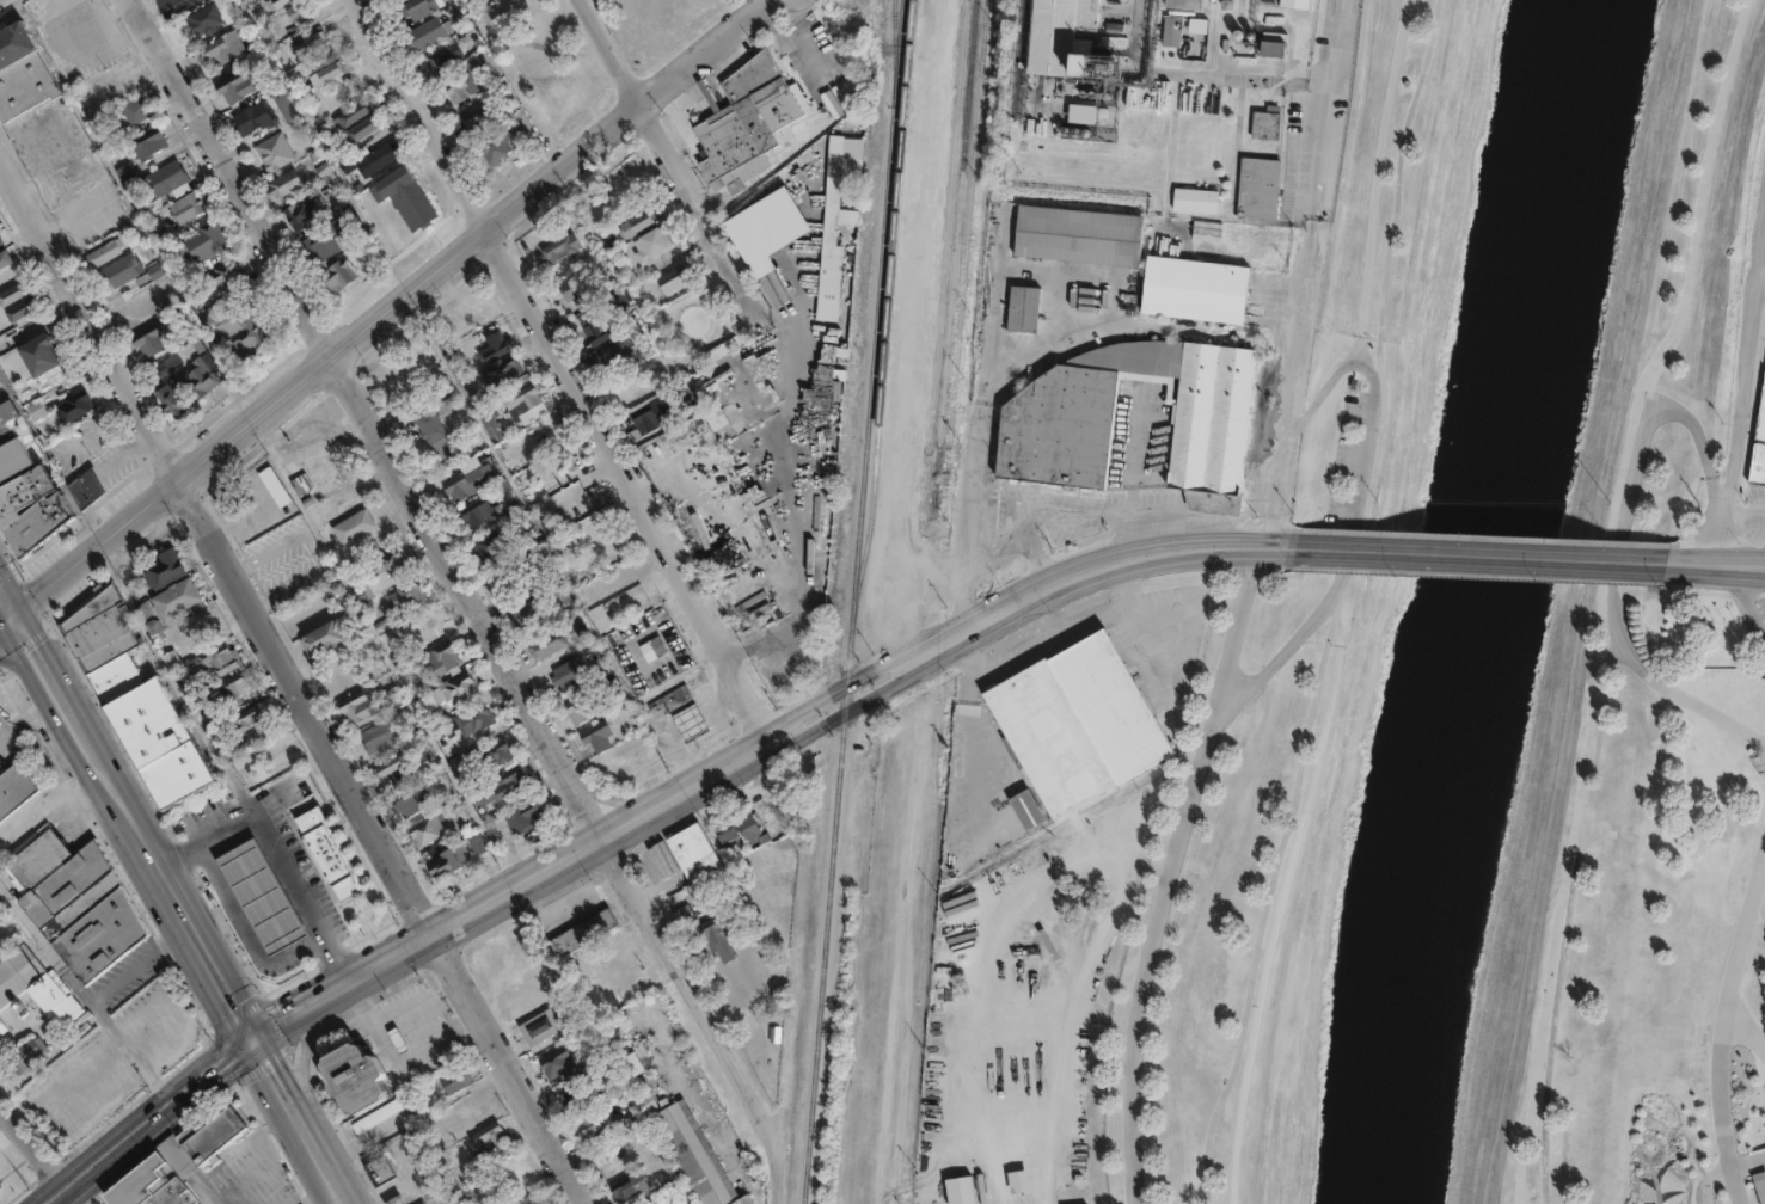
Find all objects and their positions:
building: (1185, 1)
building: (276, 2)
building: (1298, 4)
road: (152, 6)
building: (418, 7)
road: (1754, 7)
building: (302, 10)
building: (198, 23)
building: (817, 23)
building: (1193, 24)
building: (429, 31)
building: (1169, 31)
railway: (893, 36)
railway: (896, 36)
building: (1058, 36)
building: (310, 42)
building: (1274, 43)
building: (223, 48)
building: (445, 57)
railway: (1018, 59)
building: (324, 69)
building: (22, 72)
building: (238, 85)
building: (461, 86)
building: (282, 105)
building: (136, 109)
building: (744, 110)
building: (349, 115)
building: (1086, 115)
building: (252, 117)
building: (478, 117)
building: (858, 117)
building: (1262, 124)
building: (1103, 125)
building: (364, 127)
building: (148, 143)
building: (498, 143)
building: (272, 150)
road: (667, 154)
building: (370, 156)
building: (127, 172)
building: (168, 177)
building: (284, 185)
building: (1256, 189)
building: (407, 196)
building: (1191, 199)
building: (188, 207)
building: (829, 208)
building: (305, 210)
railway: (967, 221)
building: (636, 222)
railway: (945, 222)
building: (754, 233)
building: (1075, 234)
building: (1, 239)
building: (325, 241)
building: (648, 245)
building: (563, 248)
building: (200, 250)
building: (104, 251)
building: (5, 258)
railway: (952, 263)
building: (123, 269)
building: (153, 271)
building: (227, 271)
building: (632, 271)
road: (1307, 272)
building: (339, 275)
building: (675, 282)
building: (348, 284)
building: (578, 285)
building: (1193, 289)
building: (13, 291)
road: (1383, 291)
railway: (887, 303)
building: (23, 307)
building: (478, 307)
building: (1022, 307)
road: (386, 309)
building: (245, 326)
building: (605, 331)
building: (151, 340)
building: (36, 342)
building: (491, 345)
building: (618, 356)
building: (48, 363)
building: (167, 367)
road: (1745, 368)
building: (501, 370)
road: (565, 370)
building: (201, 377)
road: (1323, 388)
building: (521, 398)
building: (39, 400)
building: (446, 405)
building: (74, 406)
building: (182, 410)
building: (38, 411)
building: (711, 411)
building: (654, 413)
building: (82, 417)
road: (364, 422)
building: (428, 425)
building: (491, 428)
road: (976, 438)
building: (1052, 441)
building: (1759, 442)
road: (1700, 448)
road: (1130, 477)
building: (327, 478)
building: (456, 486)
building: (538, 491)
road: (795, 496)
building: (96, 498)
building: (508, 498)
building: (31, 503)
building: (476, 511)
road: (1034, 512)
building: (315, 515)
road: (1741, 522)
building: (350, 526)
building: (489, 543)
road: (1478, 554)
building: (533, 555)
road: (1716, 564)
building: (387, 565)
building: (166, 572)
building: (508, 579)
road: (1123, 583)
building: (558, 589)
building: (403, 594)
road: (1614, 594)
building: (171, 600)
building: (361, 601)
river: (1475, 601)
road: (1747, 602)
road: (5, 608)
building: (528, 610)
traffic signals: (11, 619)
road: (5, 622)
road: (1049, 631)
road: (1150, 637)
railway: (848, 638)
road: (1230, 639)
building: (320, 640)
building: (547, 640)
building: (441, 658)
road: (547, 659)
building: (213, 661)
building: (570, 670)
road: (290, 677)
road: (50, 688)
building: (452, 688)
building: (234, 690)
building: (674, 696)
building: (135, 698)
building: (390, 698)
building: (354, 706)
building: (580, 707)
road: (976, 709)
building: (472, 719)
building: (250, 720)
building: (1078, 720)
building: (687, 721)
gas station: (687, 721)
road: (793, 727)
building: (379, 736)
building: (595, 736)
building: (489, 754)
building: (424, 760)
building: (390, 764)
building: (507, 781)
building: (12, 791)
road: (115, 801)
building: (410, 803)
road: (47, 804)
building: (1028, 810)
building: (522, 816)
building: (737, 824)
building: (425, 829)
building: (784, 841)
building: (474, 842)
road: (277, 848)
building: (694, 849)
building: (327, 850)
road: (270, 852)
building: (663, 859)
building: (447, 860)
road: (243, 866)
road: (1173, 867)
road: (281, 872)
road: (220, 879)
road: (253, 886)
road: (293, 891)
road: (1286, 893)
building: (261, 895)
gas station: (261, 895)
road: (231, 898)
park: (1445, 903)
building: (75, 905)
road: (265, 907)
road: (305, 913)
road: (243, 920)
road: (277, 928)
building: (583, 929)
road: (244, 932)
building: (729, 940)
road: (255, 941)
road: (194, 942)
road: (44, 946)
building: (36, 987)
road: (418, 1005)
road: (1726, 1006)
road: (92, 1007)
building: (649, 1015)
road: (706, 1016)
road: (288, 1018)
road: (436, 1020)
building: (537, 1025)
building: (2, 1026)
road: (1745, 1031)
traffic signals: (250, 1040)
building: (397, 1040)
road: (387, 1049)
building: (26, 1052)
building: (553, 1058)
road: (301, 1061)
building: (631, 1062)
building: (349, 1075)
building: (455, 1081)
road: (278, 1085)
building: (574, 1091)
building: (379, 1117)
building: (588, 1119)
road: (151, 1122)
building: (488, 1137)
road: (39, 1154)
building: (694, 1155)
road: (1747, 1162)
building: (177, 1163)
road: (326, 1167)
building: (380, 1168)
road: (1706, 1179)
building: (1019, 1180)
building: (0, 1184)
building: (625, 1185)
road: (1735, 1185)
building: (0, 1186)
building: (962, 1190)
building: (453, 1196)
building: (435, 1200)
building: (667, 1203)

